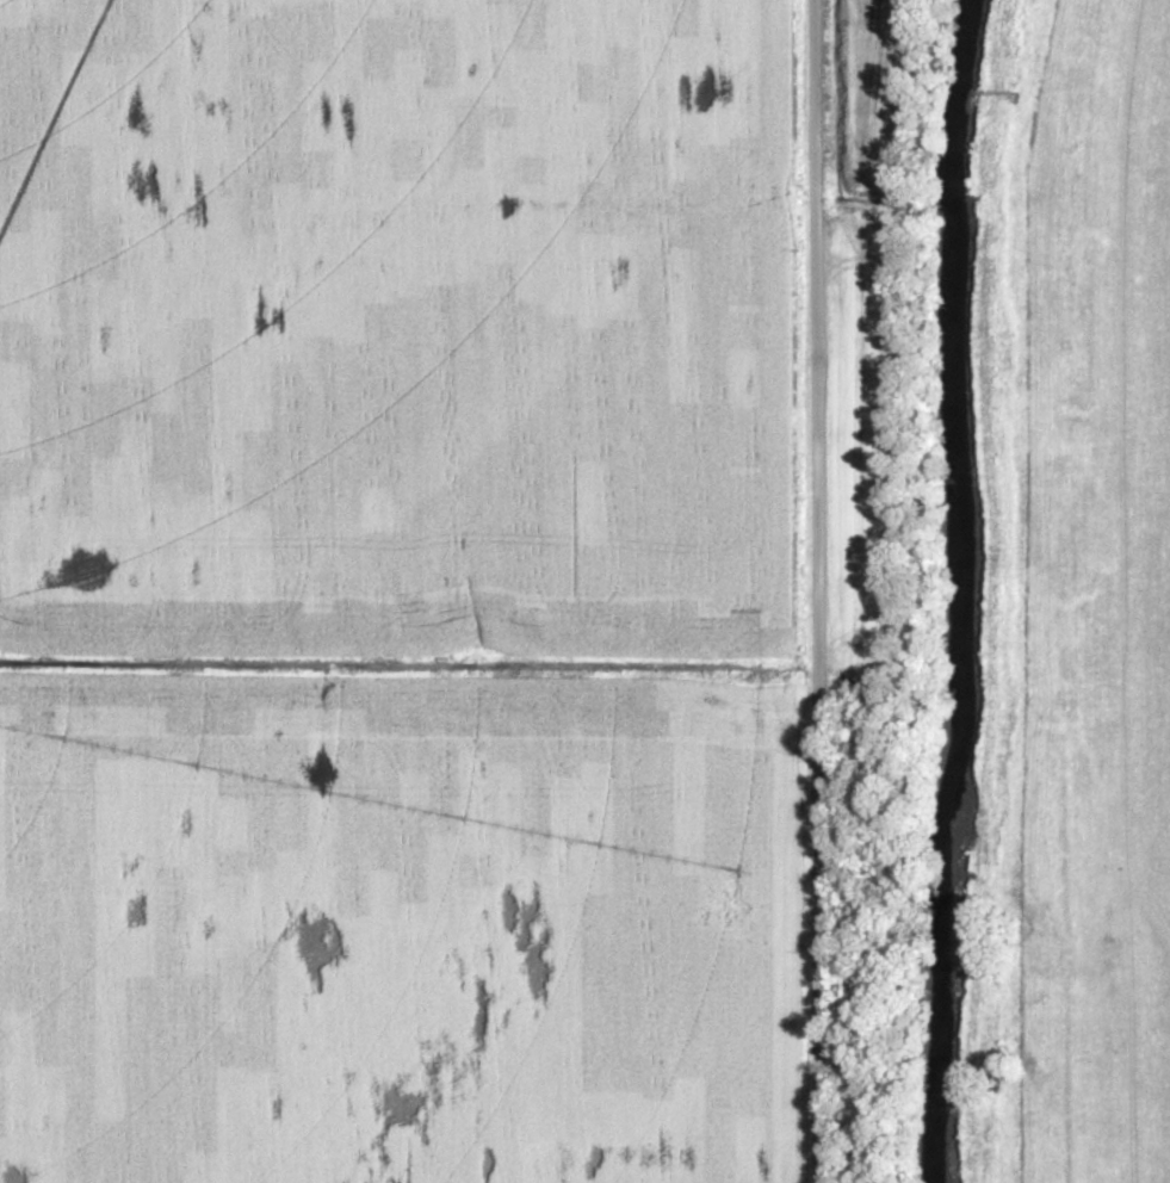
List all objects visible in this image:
road: (818, 591)

